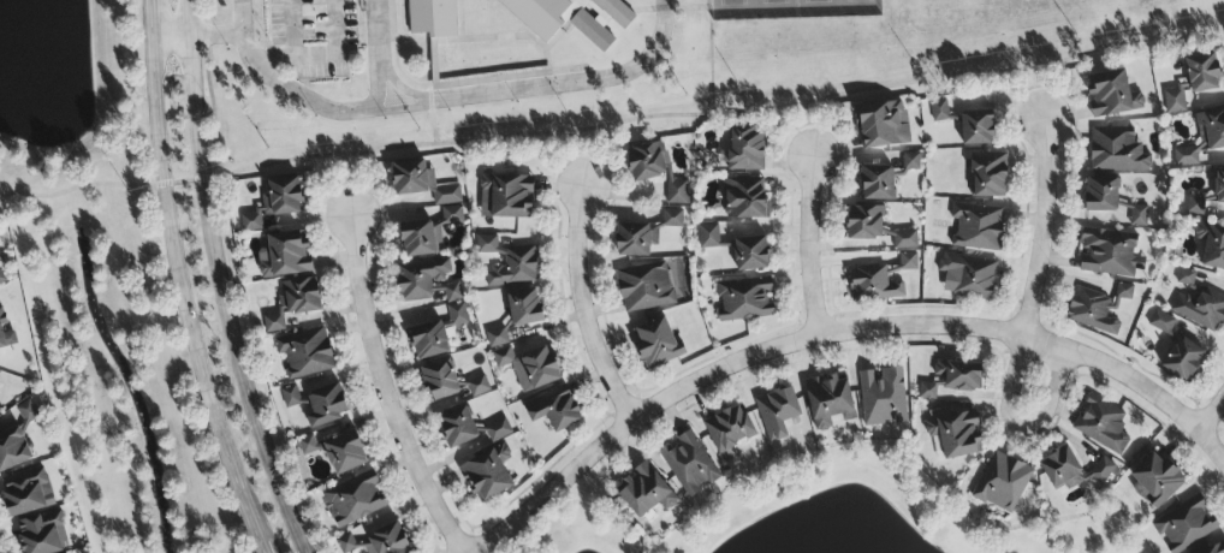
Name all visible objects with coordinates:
park: (792, 10)
building: (541, 14)
building: (433, 19)
road: (292, 29)
road: (213, 35)
road: (168, 36)
road: (321, 57)
road: (712, 58)
building: (1202, 73)
road: (572, 84)
road: (400, 89)
road: (1041, 94)
building: (1112, 95)
building: (1175, 101)
road: (402, 108)
road: (327, 111)
building: (939, 112)
road: (433, 124)
road: (612, 124)
building: (883, 124)
building: (976, 127)
road: (808, 130)
building: (1202, 138)
building: (745, 149)
building: (1116, 151)
road: (577, 160)
building: (910, 162)
building: (655, 168)
building: (988, 174)
building: (422, 183)
building: (878, 183)
road: (346, 185)
building: (1219, 185)
building: (1101, 195)
building: (505, 197)
building: (744, 200)
building: (274, 203)
building: (1196, 204)
building: (1137, 216)
building: (672, 219)
building: (864, 224)
building: (978, 226)
road: (1042, 228)
building: (427, 233)
building: (708, 237)
building: (635, 239)
building: (904, 240)
building: (1211, 245)
road: (808, 246)
building: (750, 254)
building: (1109, 254)
building: (284, 255)
building: (908, 262)
building: (509, 263)
building: (968, 276)
building: (1184, 278)
building: (1, 279)
building: (420, 279)
road: (179, 281)
road: (218, 281)
building: (873, 285)
building: (644, 287)
building: (452, 293)
building: (743, 301)
building: (293, 303)
building: (524, 308)
building: (1097, 308)
road: (581, 309)
building: (1200, 309)
building: (457, 315)
building: (1160, 322)
building: (5, 331)
road: (833, 334)
building: (497, 338)
building: (429, 341)
building: (656, 344)
building: (305, 353)
building: (1183, 359)
building: (529, 367)
building: (959, 375)
building: (440, 380)
building: (477, 386)
road: (387, 391)
building: (927, 392)
building: (290, 397)
building: (883, 397)
building: (827, 400)
building: (327, 405)
building: (554, 410)
building: (28, 412)
building: (777, 412)
road: (1213, 420)
building: (1101, 426)
road: (1022, 427)
building: (457, 428)
building: (498, 430)
building: (729, 430)
building: (13, 450)
building: (338, 452)
building: (689, 464)
building: (1060, 469)
building: (1101, 471)
building: (487, 474)
building: (1158, 480)
building: (1002, 483)
building: (644, 492)
building: (28, 493)
building: (353, 500)
building: (1186, 525)
building: (42, 534)
building: (376, 542)
building: (1214, 548)

